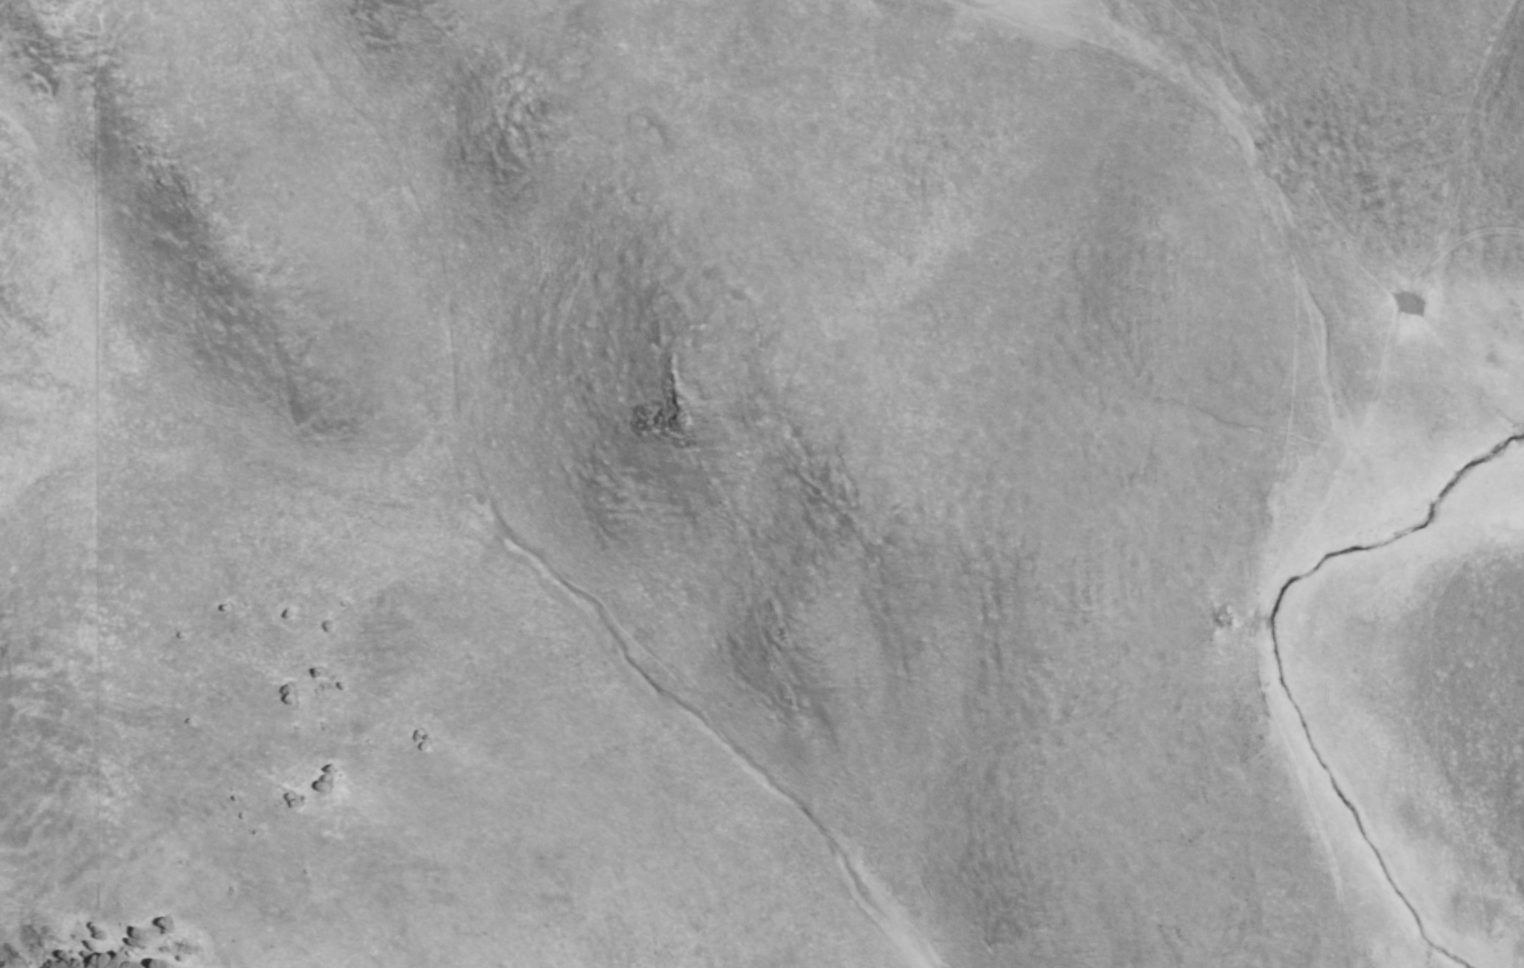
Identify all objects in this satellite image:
road: (1240, 585)

